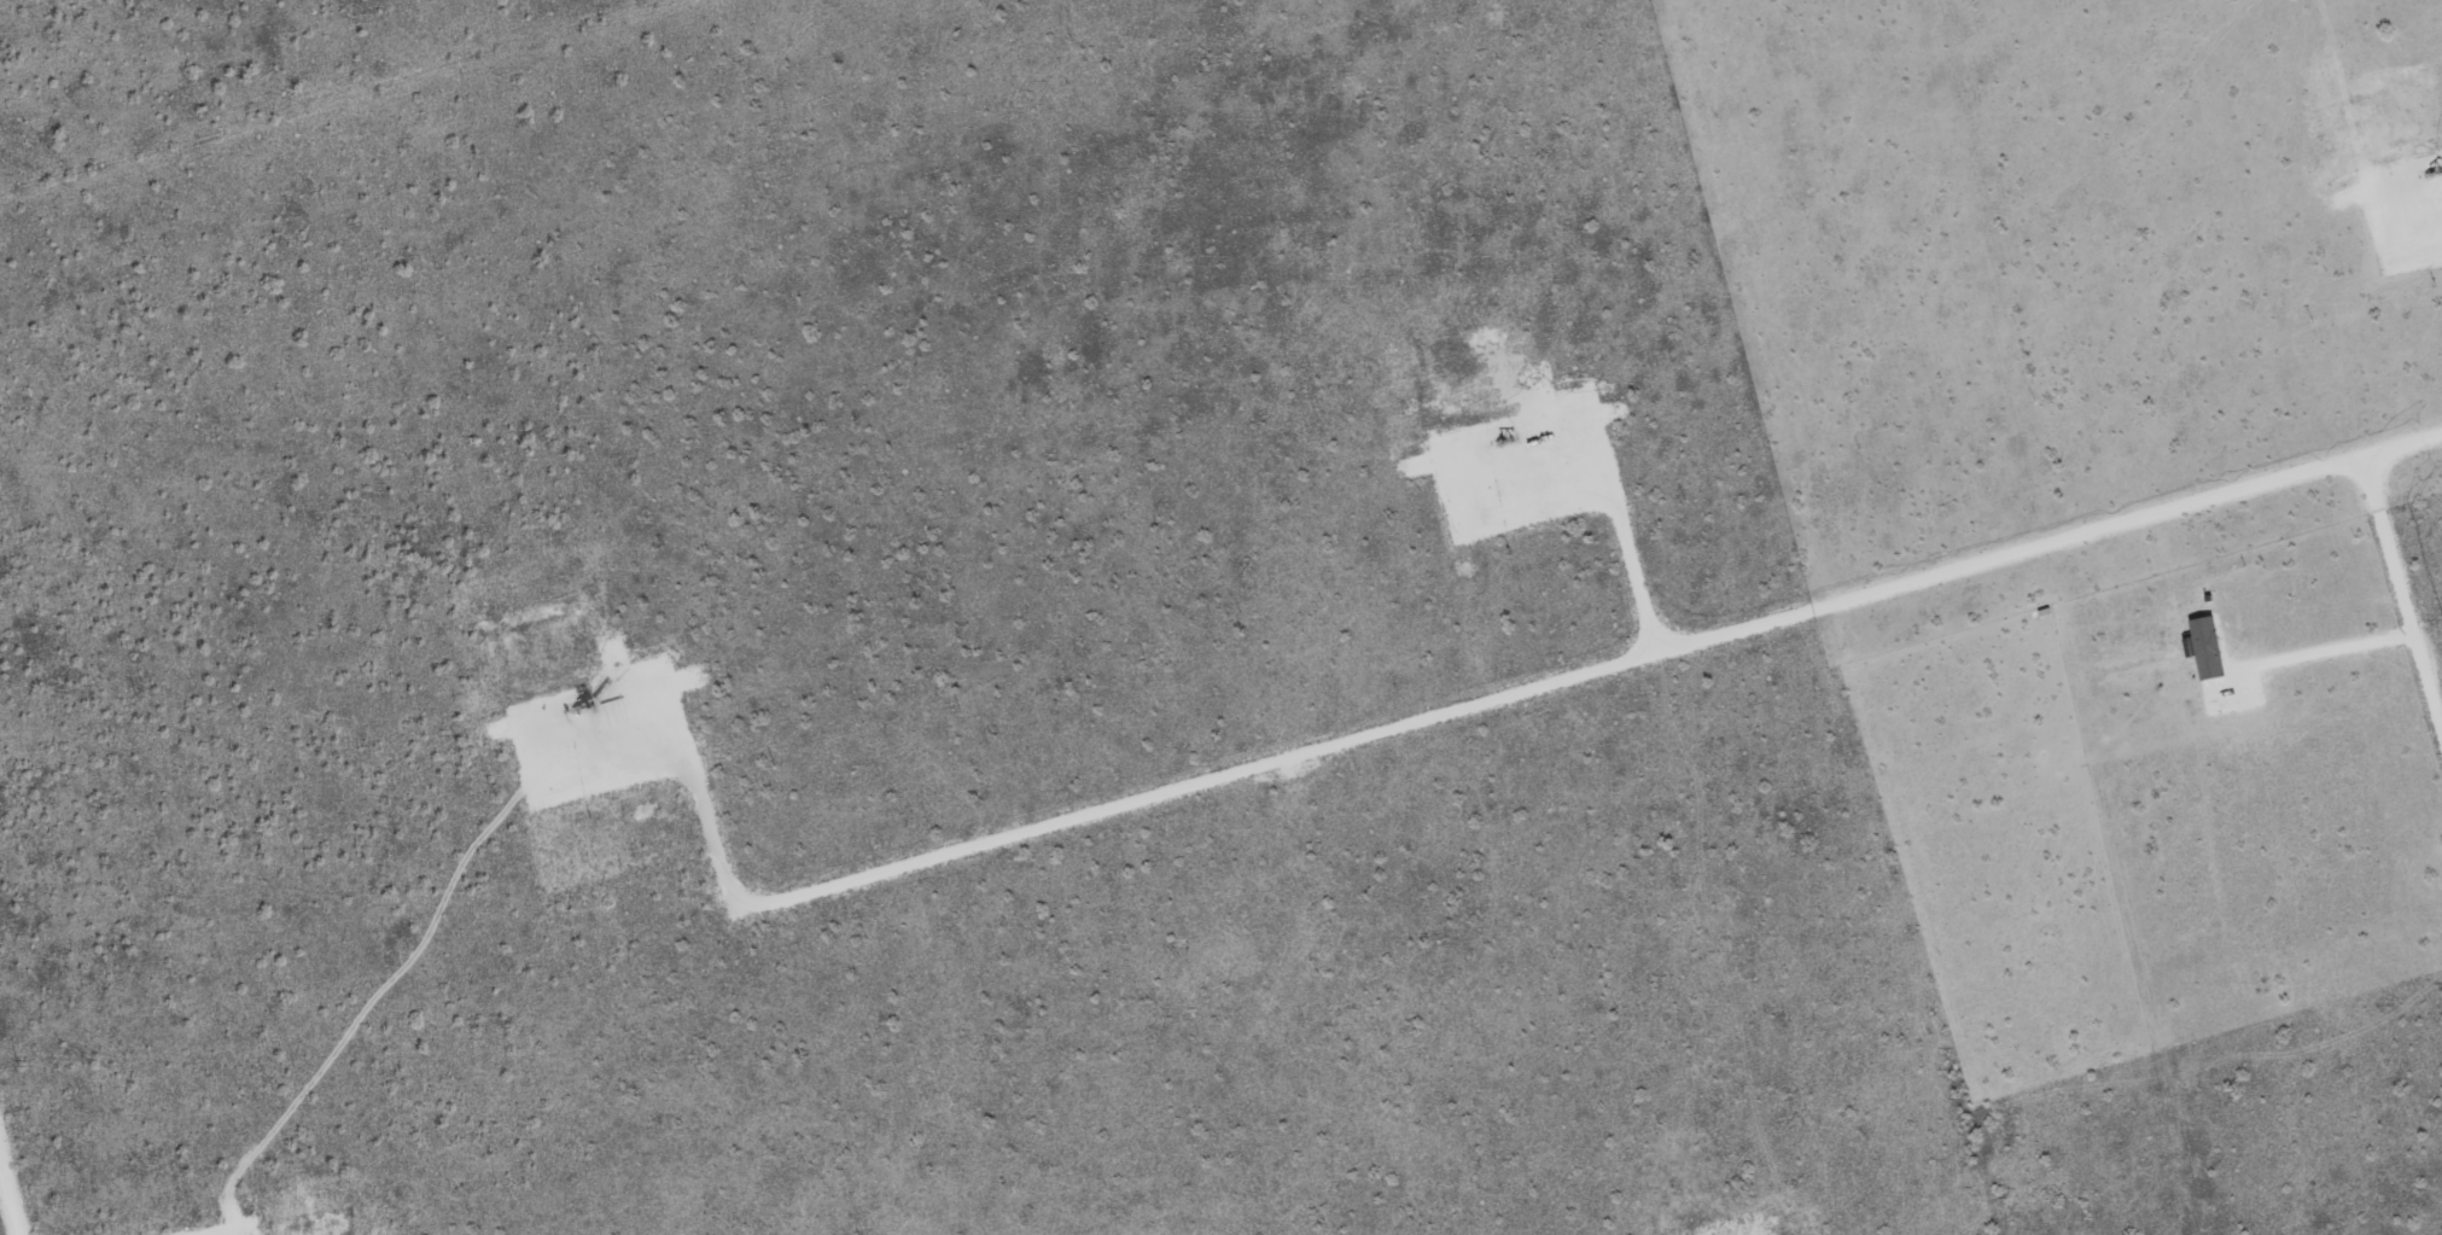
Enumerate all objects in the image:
road: (11, 1190)

